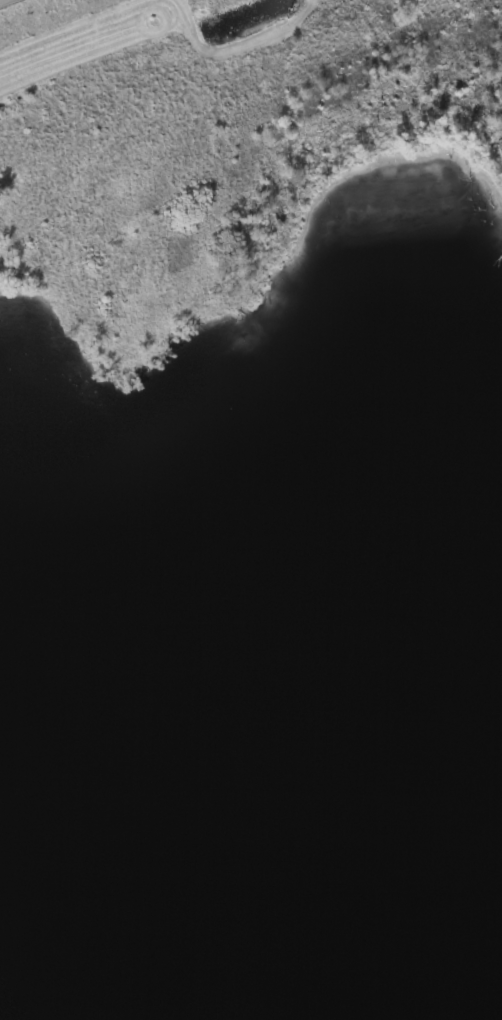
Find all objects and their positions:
park: (226, 161)

